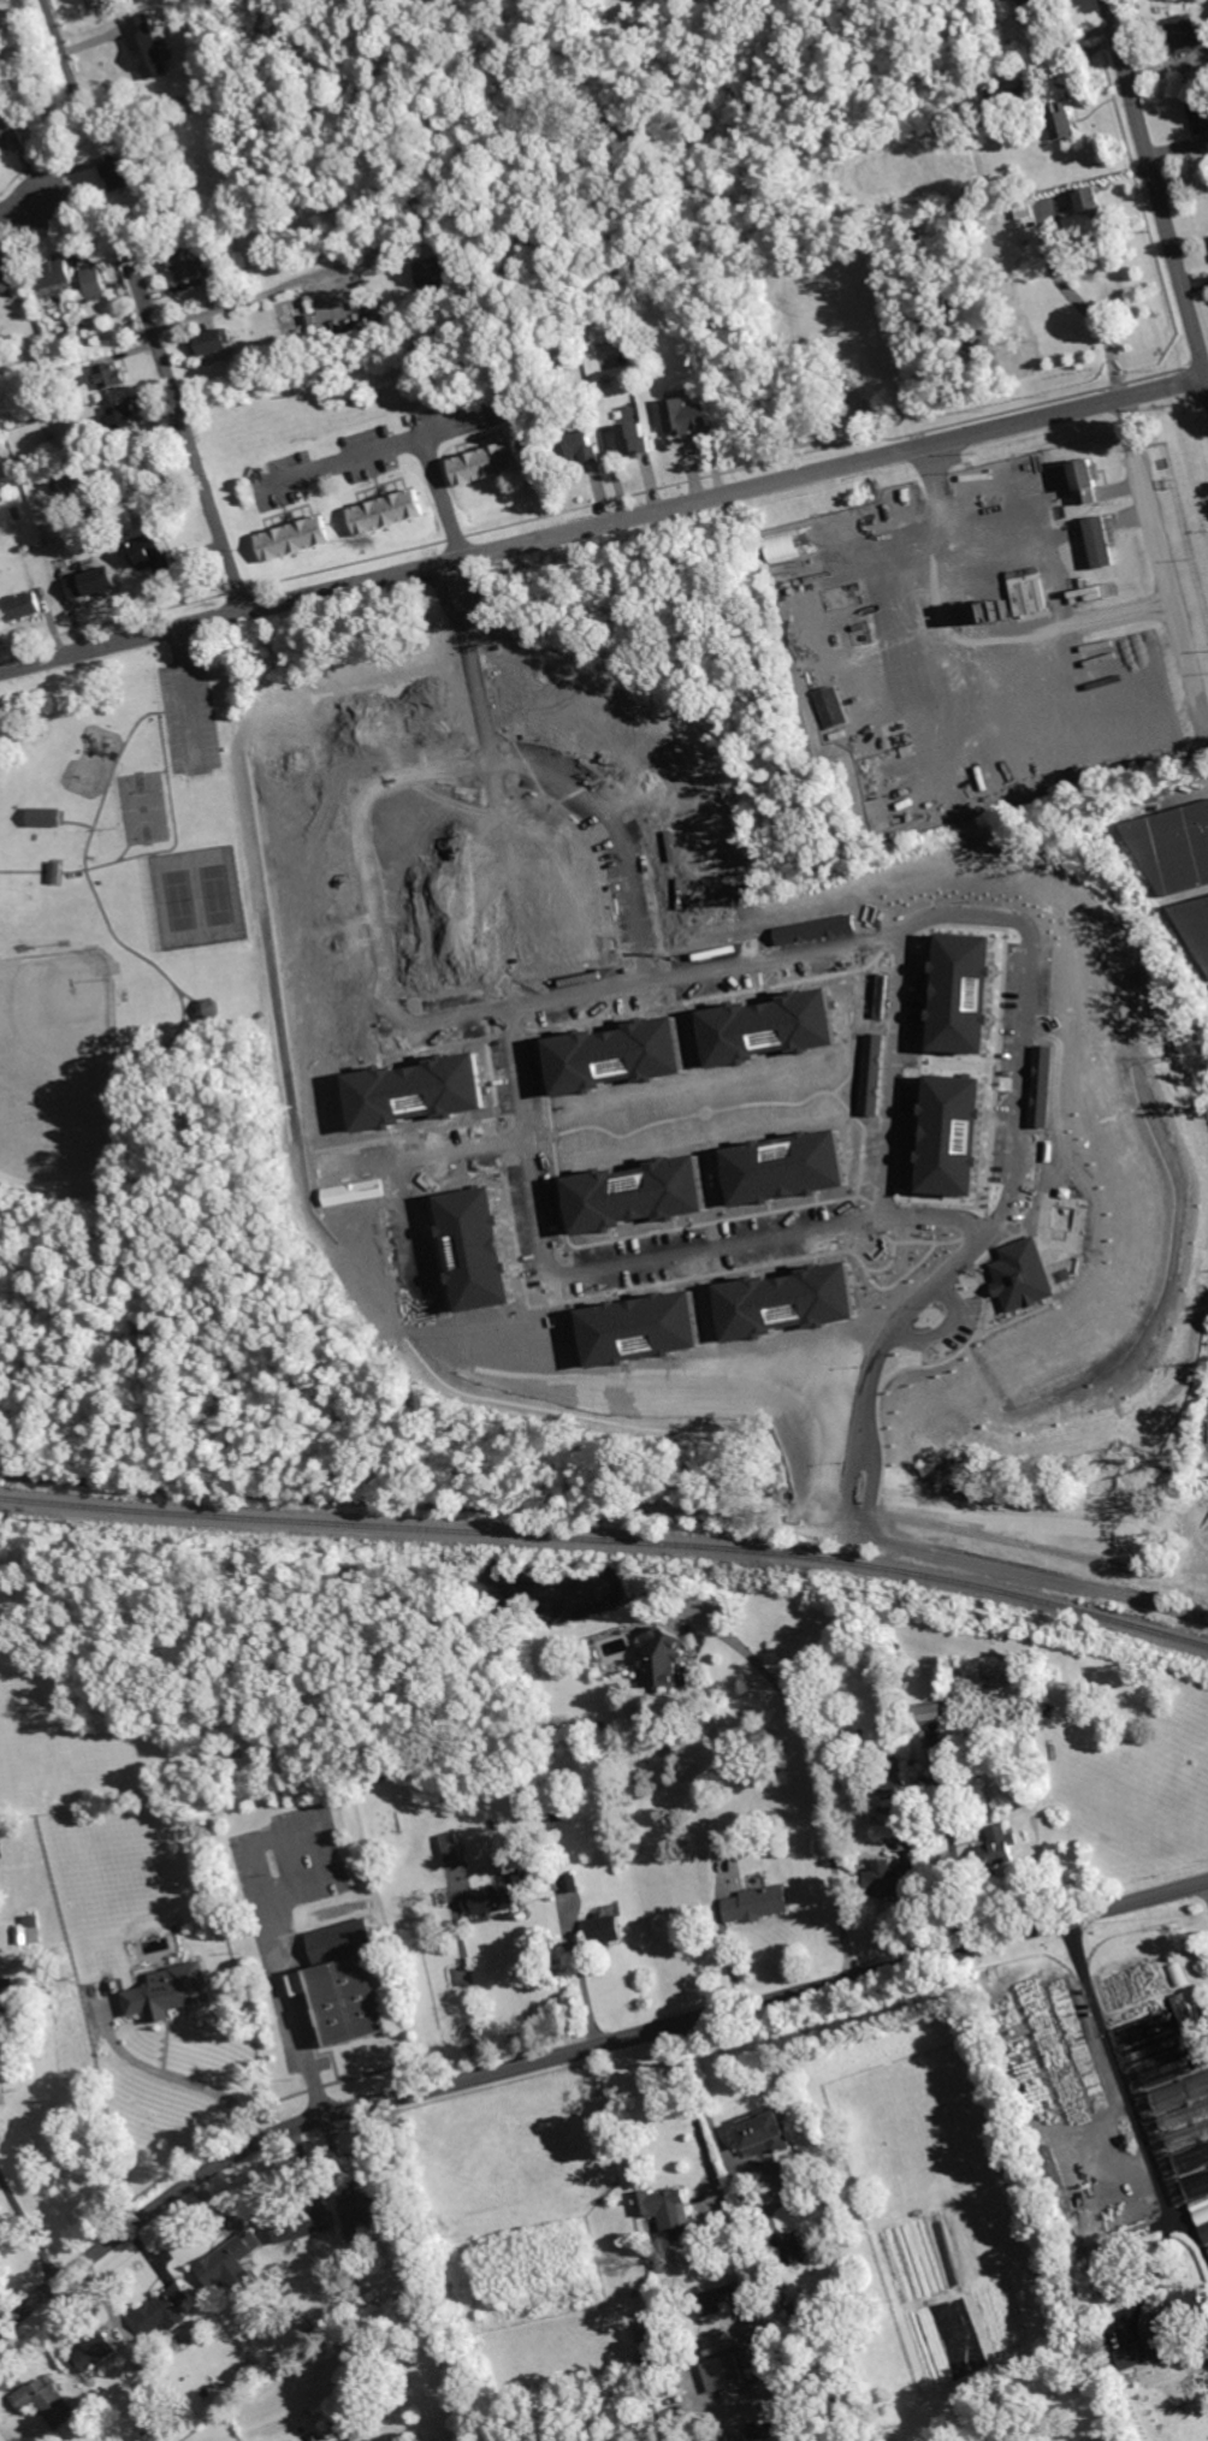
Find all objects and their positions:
building: (1036, 6)
building: (1001, 8)
building: (118, 11)
building: (1188, 32)
building: (918, 36)
road: (64, 52)
building: (116, 54)
building: (156, 58)
building: (1203, 81)
building: (997, 93)
building: (713, 108)
building: (1201, 113)
building: (999, 114)
building: (270, 119)
building: (1065, 123)
building: (11, 132)
building: (119, 174)
road: (41, 196)
building: (1090, 201)
road: (1157, 205)
building: (1020, 209)
building: (185, 262)
building: (55, 273)
building: (6, 277)
building: (434, 277)
building: (96, 284)
building: (830, 285)
building: (807, 295)
road: (250, 296)
building: (786, 300)
building: (25, 301)
road: (1083, 303)
building: (47, 333)
building: (213, 342)
building: (466, 348)
building: (113, 375)
building: (70, 408)
building: (689, 416)
building: (126, 417)
road: (454, 421)
road: (186, 427)
building: (19, 437)
road: (401, 438)
building: (638, 440)
building: (88, 442)
building: (586, 449)
building: (125, 455)
building: (488, 463)
building: (1086, 481)
building: (995, 486)
building: (389, 511)
building: (18, 513)
building: (99, 515)
road: (599, 525)
building: (296, 539)
building: (1101, 541)
building: (784, 545)
building: (150, 553)
road: (1157, 567)
building: (94, 582)
building: (1029, 589)
building: (1088, 593)
building: (24, 606)
building: (831, 606)
building: (1003, 612)
building: (869, 639)
road: (967, 639)
building: (811, 677)
road: (189, 695)
building: (833, 707)
parking lot: (190, 715)
building: (898, 735)
building: (1131, 762)
road: (143, 772)
building: (875, 787)
park: (144, 807)
building: (878, 812)
building: (45, 814)
road: (72, 820)
road: (140, 842)
building: (1176, 847)
road: (143, 853)
road: (87, 869)
building: (55, 870)
park: (218, 893)
park: (180, 899)
building: (1196, 922)
road: (757, 961)
building: (1022, 979)
building: (965, 991)
road: (188, 994)
building: (206, 1007)
road: (449, 1020)
park: (60, 1068)
road: (896, 1073)
building: (1046, 1084)
park: (154, 1098)
building: (954, 1133)
road: (403, 1173)
building: (1025, 1273)
road: (609, 1504)
railway: (608, 1540)
building: (594, 1655)
building: (663, 1659)
building: (936, 1712)
building: (913, 1766)
road: (818, 1772)
building: (894, 1777)
building: (925, 1791)
building: (557, 1813)
building: (452, 1847)
building: (999, 1847)
building: (888, 1878)
building: (572, 1883)
building: (490, 1900)
building: (759, 1902)
building: (605, 1928)
building: (31, 1931)
building: (1179, 1975)
road: (280, 1983)
building: (344, 1984)
building: (171, 1991)
road: (468, 1993)
building: (1192, 2027)
building: (4, 2043)
road: (578, 2050)
road: (1120, 2063)
road: (180, 2078)
road: (698, 2090)
building: (1180, 2093)
building: (943, 2102)
road: (687, 2103)
building: (1185, 2115)
building: (768, 2132)
building: (1189, 2134)
building: (1130, 2138)
building: (1192, 2157)
building: (1055, 2181)
building: (1197, 2185)
building: (1202, 2210)
building: (368, 2211)
building: (668, 2211)
building: (302, 2224)
road: (29, 2226)
building: (1206, 2230)
building: (790, 2251)
building: (230, 2261)
road: (1156, 2269)
building: (372, 2297)
building: (777, 2299)
building: (717, 2306)
building: (810, 2307)
building: (167, 2309)
building: (1179, 2316)
building: (96, 2351)
building: (1135, 2356)
building: (244, 2369)
building: (728, 2371)
building: (49, 2400)
building: (227, 2417)

